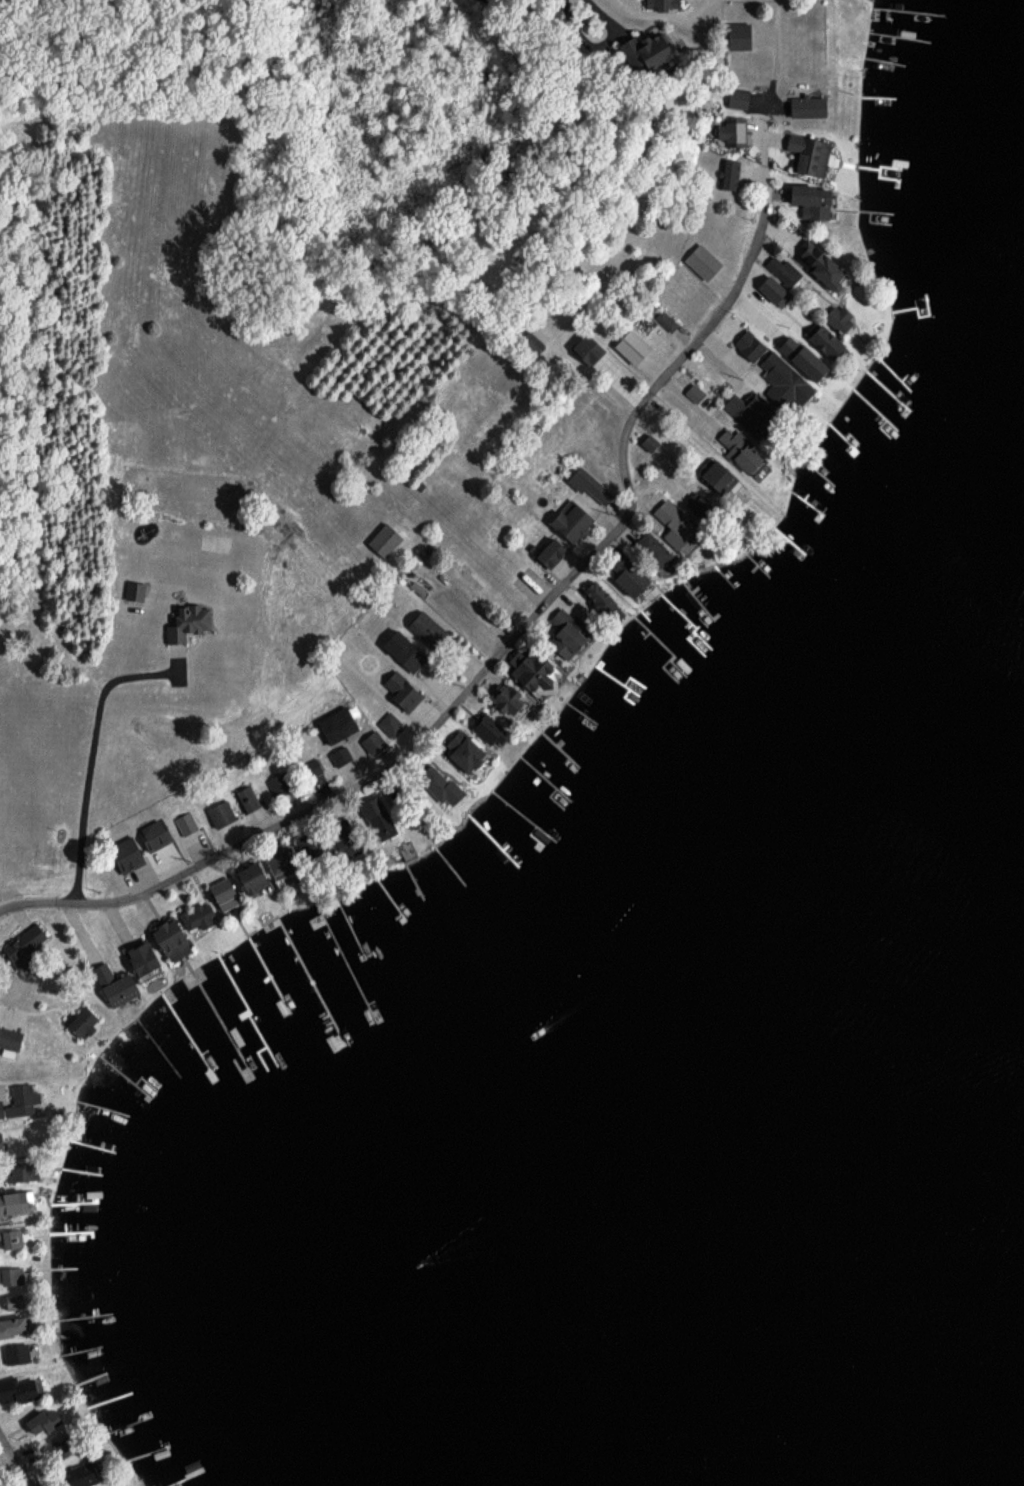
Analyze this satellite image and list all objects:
building: (660, 4)
building: (738, 35)
building: (641, 50)
building: (735, 97)
building: (806, 106)
building: (732, 130)
building: (808, 154)
building: (729, 174)
building: (810, 200)
building: (701, 260)
building: (819, 266)
building: (784, 271)
building: (772, 290)
building: (838, 318)
building: (665, 320)
building: (822, 340)
building: (748, 344)
building: (629, 345)
building: (584, 349)
building: (800, 357)
building: (783, 381)
building: (693, 392)
building: (745, 411)
building: (647, 442)
building: (737, 448)
building: (719, 478)
building: (588, 483)
building: (568, 520)
building: (671, 523)
building: (384, 539)
building: (650, 547)
building: (549, 551)
building: (623, 571)
building: (599, 597)
building: (193, 623)
building: (424, 626)
building: (565, 631)
road: (513, 640)
building: (402, 649)
building: (531, 670)
building: (401, 690)
building: (505, 698)
building: (336, 723)
building: (390, 723)
building: (487, 728)
building: (372, 740)
building: (462, 749)
building: (343, 759)
building: (280, 785)
building: (439, 785)
building: (249, 807)
building: (225, 815)
building: (376, 816)
building: (187, 824)
building: (274, 869)
building: (228, 898)
building: (185, 930)
building: (34, 943)
building: (151, 959)
building: (104, 973)
building: (124, 990)
building: (83, 1020)
building: (12, 1039)
building: (28, 1100)
building: (24, 1205)
building: (15, 1238)
building: (13, 1277)
building: (18, 1302)
building: (17, 1328)
building: (19, 1354)
building: (19, 1390)
building: (51, 1422)
building: (65, 1448)
road: (15, 1462)

